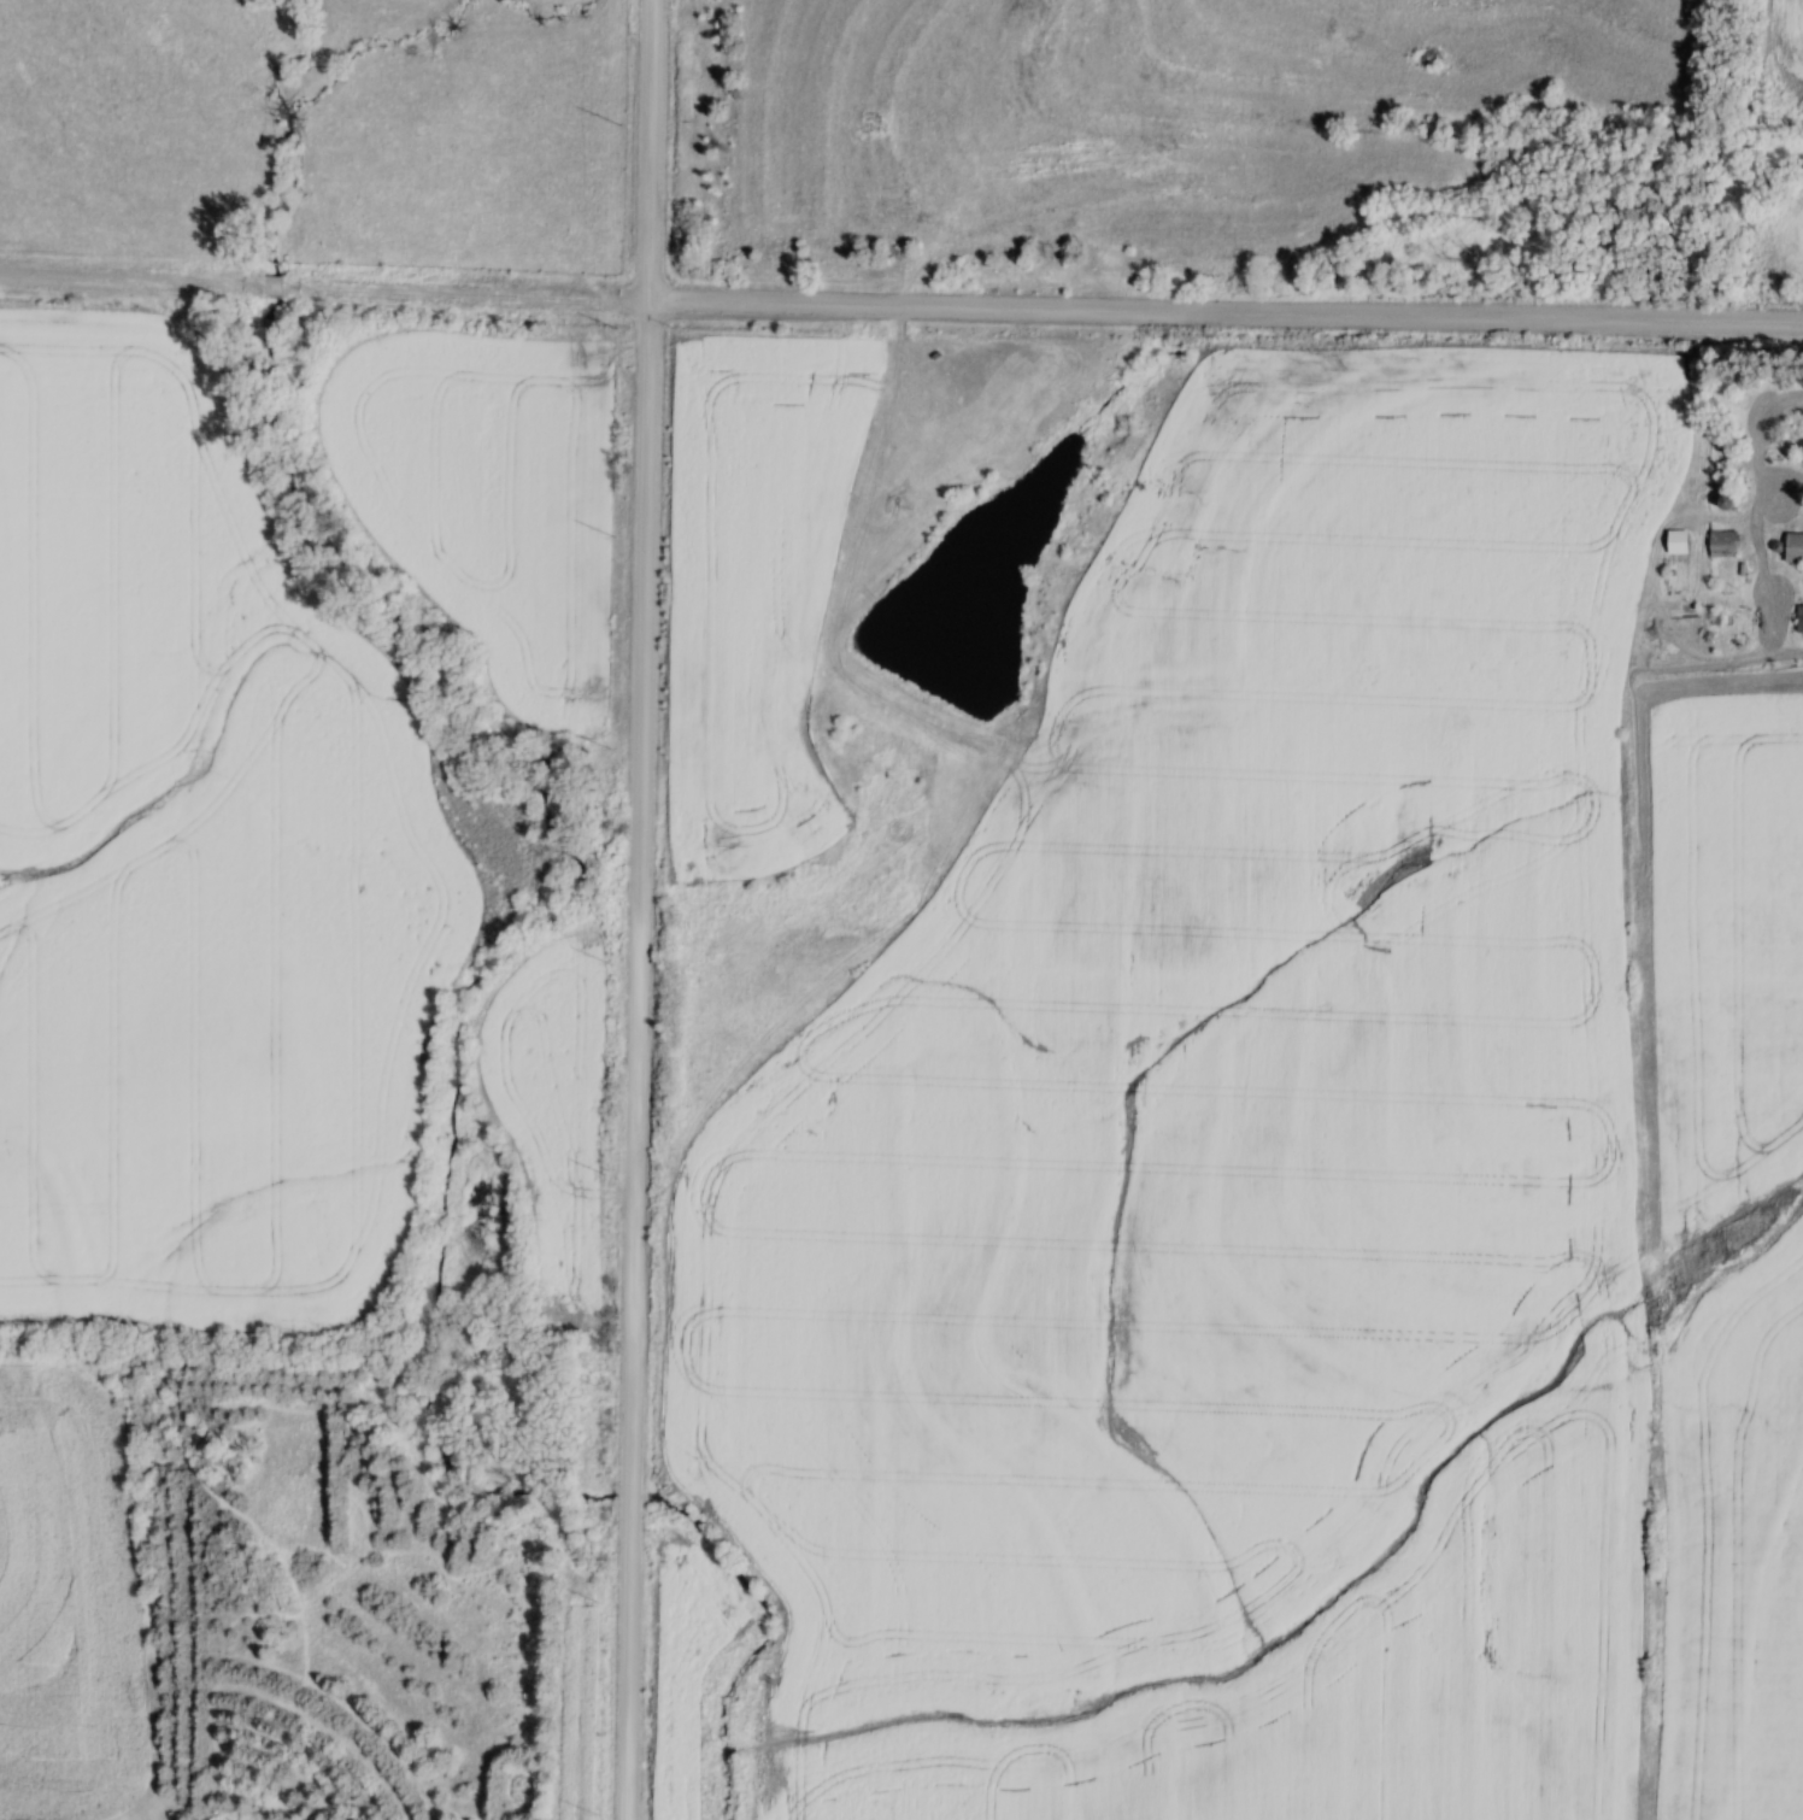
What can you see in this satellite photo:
road: (900, 306)
building: (1675, 540)
building: (1721, 542)
building: (1792, 547)
building: (1799, 618)
road: (639, 910)

